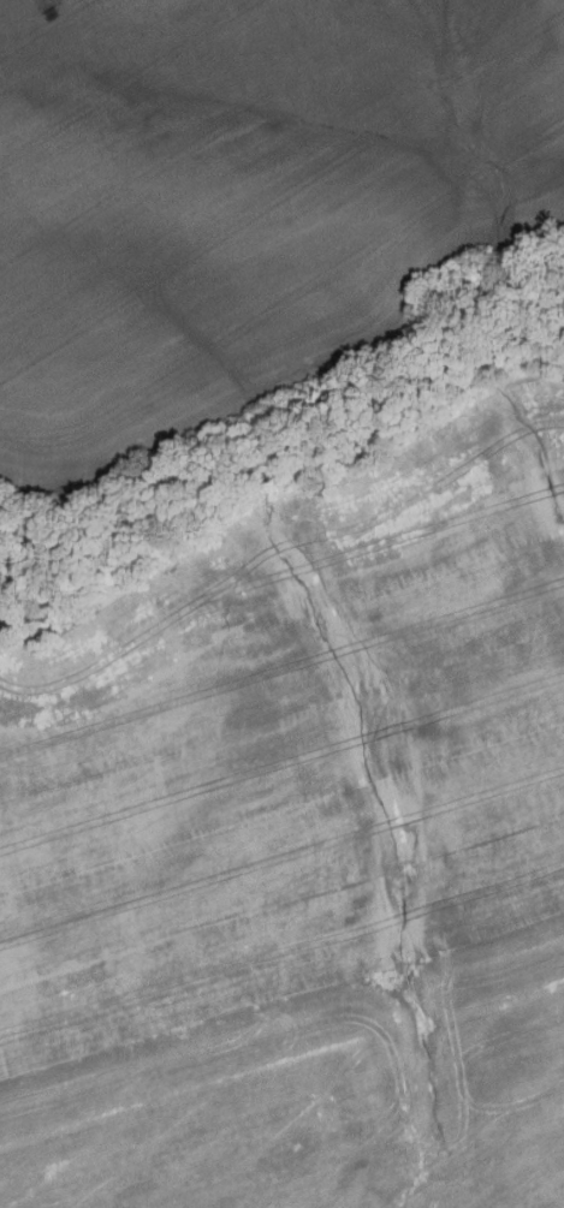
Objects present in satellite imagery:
crop: (242, 201)
crop: (302, 847)

